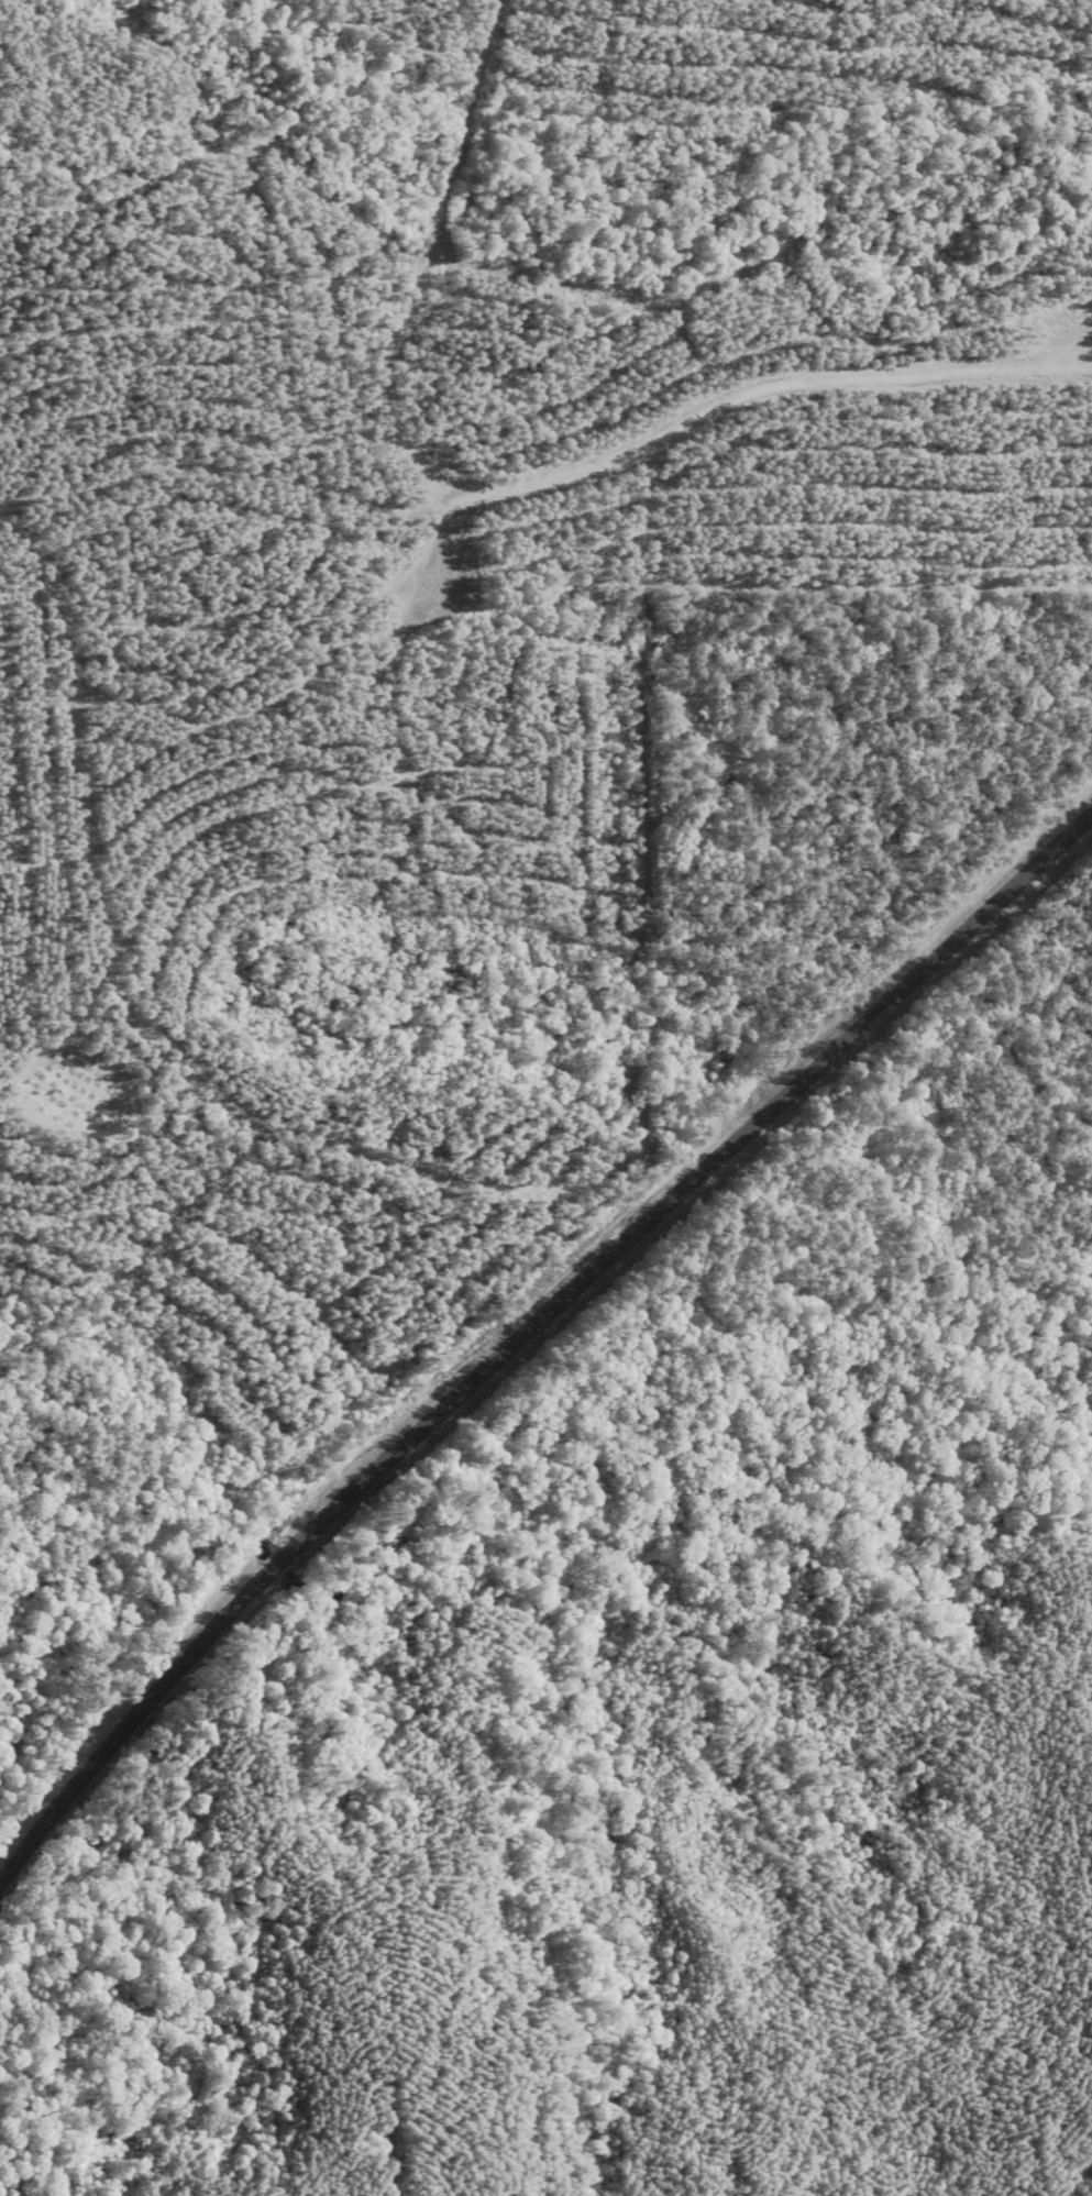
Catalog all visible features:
road: (527, 1334)

